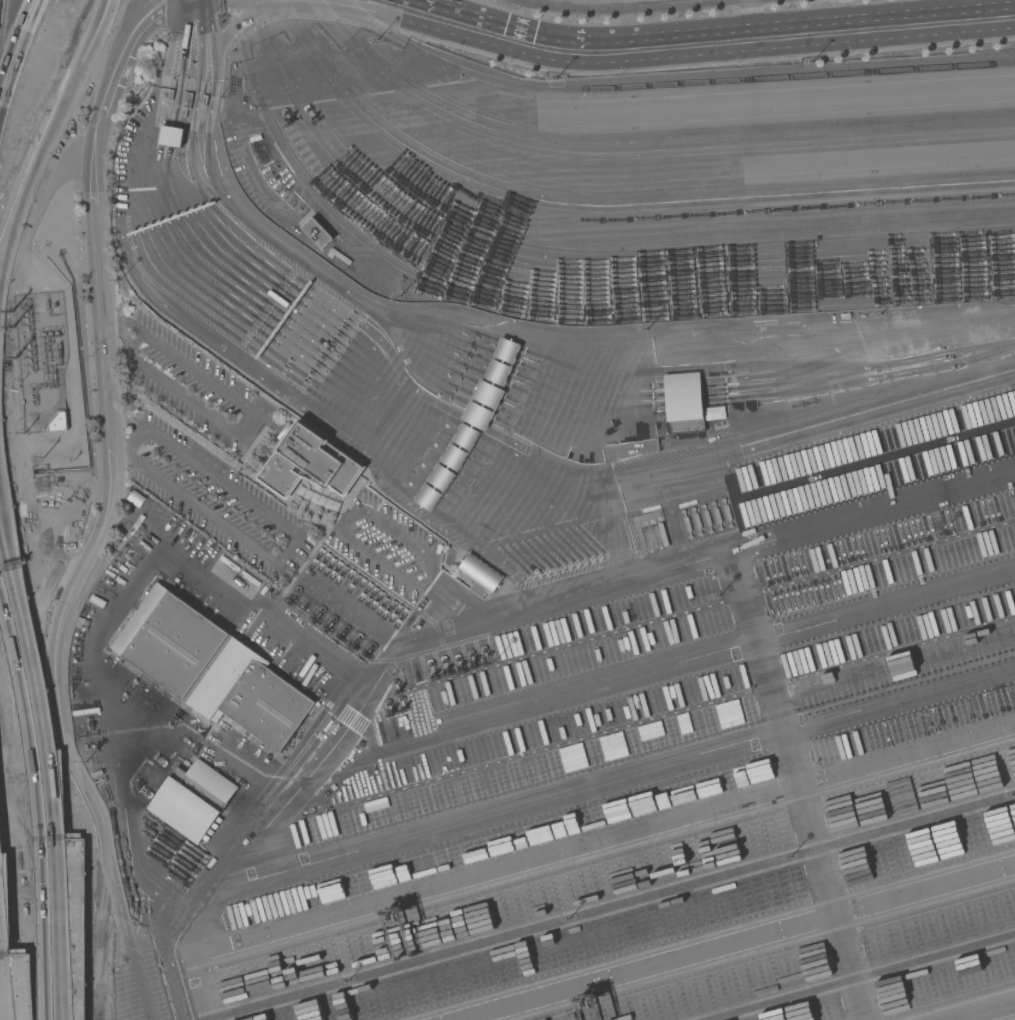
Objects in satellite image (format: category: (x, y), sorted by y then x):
road: (392, 0)
road: (3, 8)
railway: (642, 9)
road: (698, 40)
road: (15, 43)
railway: (671, 84)
road: (213, 85)
building: (170, 95)
building: (205, 101)
building: (185, 104)
road: (49, 128)
building: (171, 136)
railway: (647, 136)
railway: (639, 145)
railway: (613, 197)
railway: (605, 206)
building: (317, 232)
building: (40, 247)
railway: (578, 257)
railway: (571, 265)
railway: (542, 312)
road: (110, 313)
building: (844, 316)
road: (588, 340)
building: (684, 403)
building: (62, 422)
building: (56, 423)
road: (239, 425)
building: (471, 426)
building: (307, 462)
road: (111, 474)
building: (318, 497)
building: (135, 498)
road: (295, 536)
building: (479, 575)
building: (210, 667)
road: (37, 671)
road: (30, 701)
road: (224, 753)
building: (192, 799)
road: (154, 888)
road: (143, 921)
road: (54, 928)
road: (737, 942)
road: (140, 983)
road: (120, 984)
road: (0, 1014)

